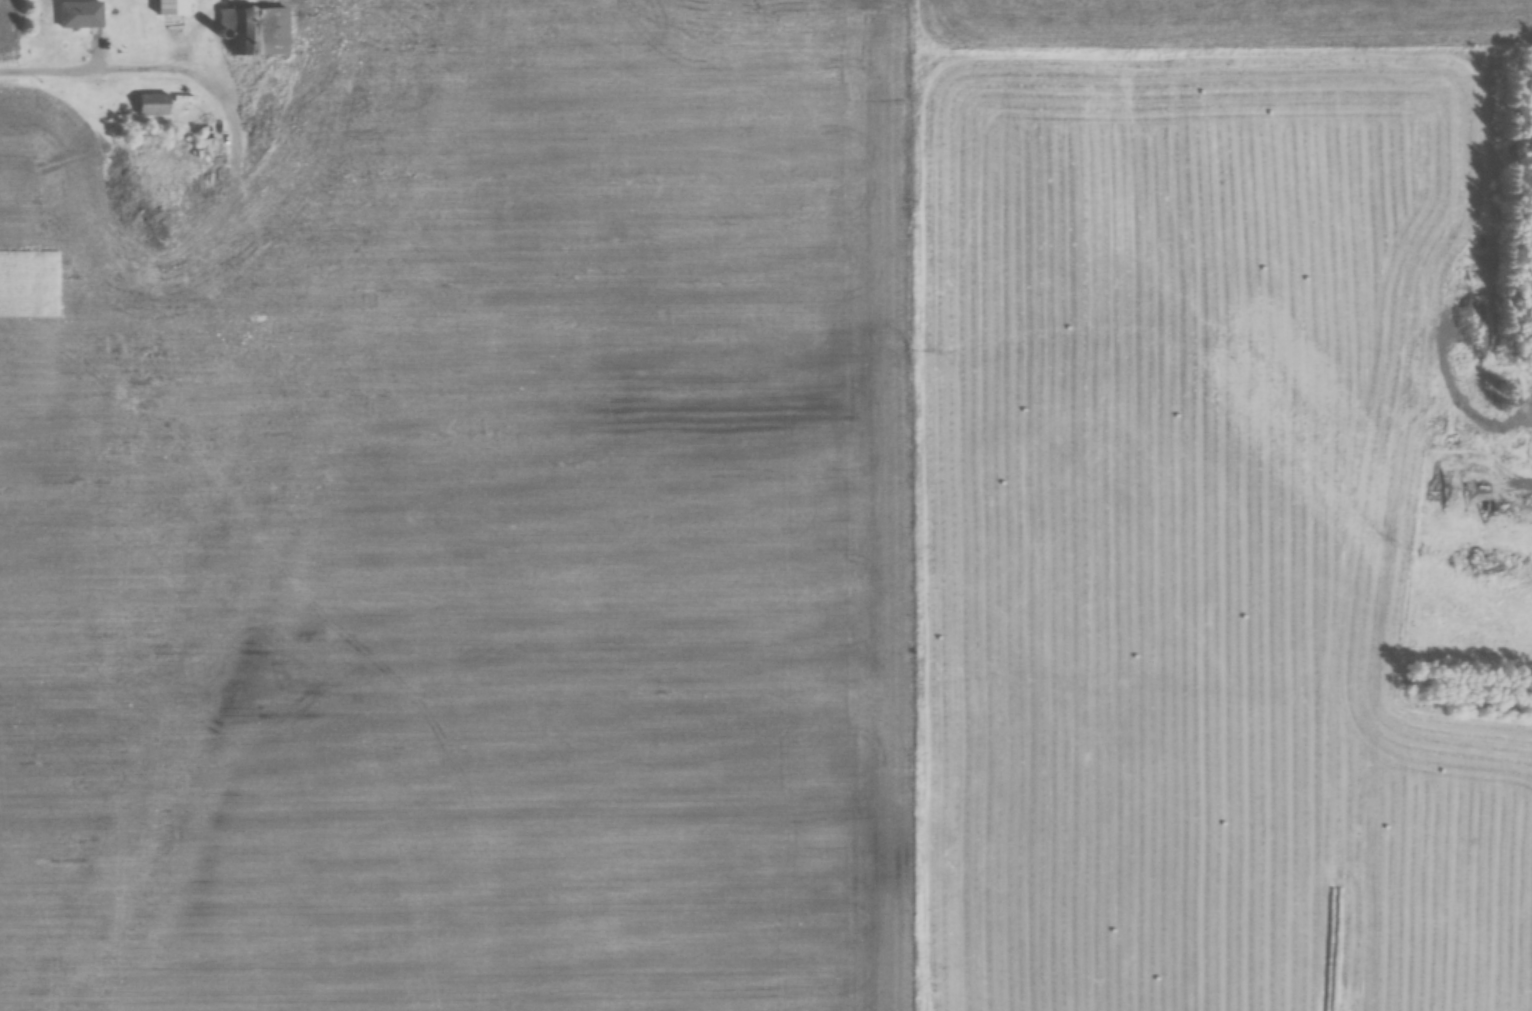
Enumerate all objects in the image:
building: (171, 8)
building: (78, 15)
building: (256, 31)
building: (151, 105)
building: (200, 184)
building: (157, 185)

